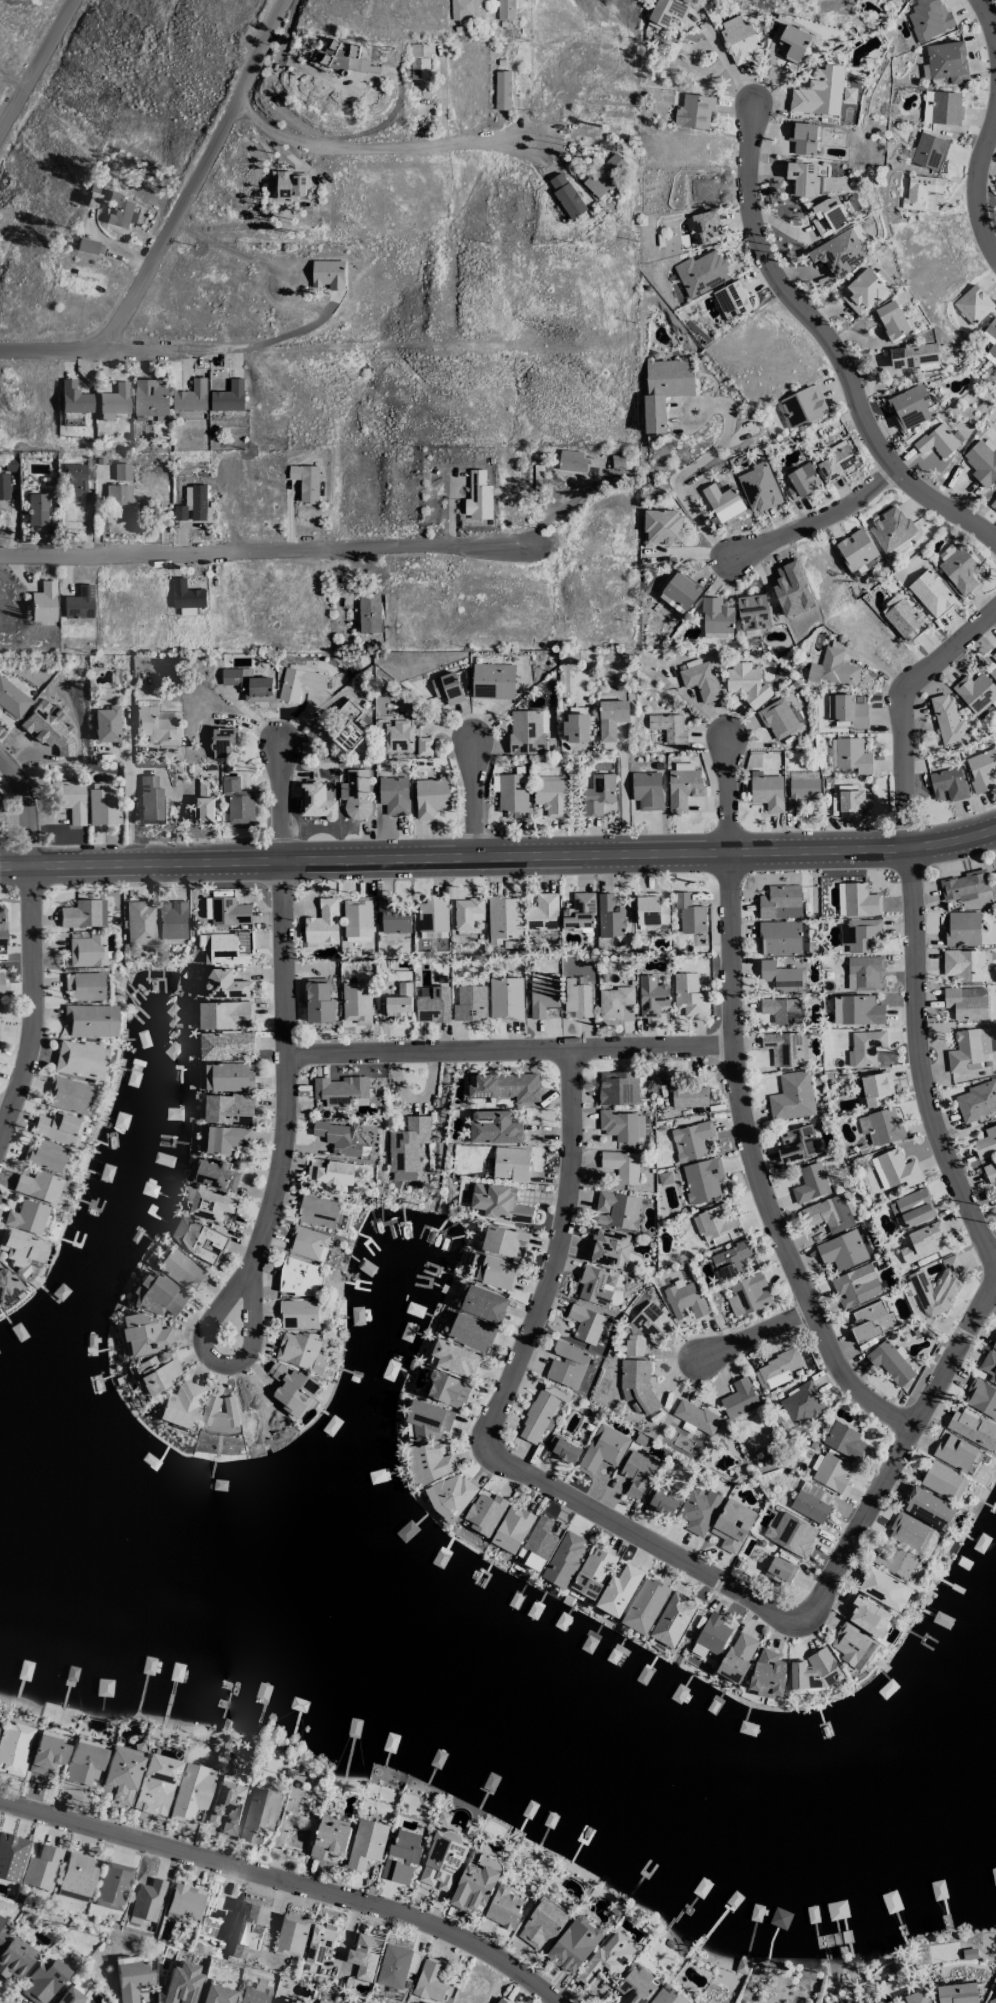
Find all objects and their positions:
building: (506, 8)
building: (463, 9)
building: (667, 11)
road: (987, 17)
building: (927, 18)
building: (739, 39)
building: (793, 41)
road: (724, 60)
building: (947, 61)
road: (38, 66)
building: (419, 68)
road: (12, 83)
building: (502, 90)
building: (819, 92)
road: (409, 107)
building: (941, 107)
building: (694, 111)
building: (802, 137)
road: (374, 142)
building: (929, 151)
road: (198, 170)
building: (606, 174)
building: (801, 178)
road: (977, 183)
building: (291, 185)
building: (920, 190)
building: (566, 195)
building: (828, 215)
building: (705, 226)
building: (839, 252)
building: (701, 273)
building: (862, 292)
building: (732, 299)
building: (891, 319)
building: (991, 337)
road: (270, 340)
road: (833, 344)
building: (913, 356)
building: (664, 389)
building: (191, 396)
building: (150, 397)
building: (228, 397)
building: (73, 398)
building: (114, 402)
building: (804, 404)
building: (909, 406)
building: (188, 414)
building: (936, 441)
building: (571, 460)
building: (837, 461)
building: (982, 461)
road: (683, 471)
building: (121, 472)
building: (73, 479)
building: (305, 481)
building: (802, 481)
building: (4, 486)
building: (758, 487)
building: (118, 495)
building: (478, 496)
building: (723, 501)
building: (198, 502)
building: (993, 503)
building: (36, 509)
building: (179, 512)
road: (814, 519)
building: (662, 526)
building: (890, 528)
building: (855, 549)
road: (259, 550)
building: (958, 568)
building: (791, 589)
building: (679, 592)
building: (930, 592)
building: (186, 594)
building: (42, 603)
building: (78, 603)
building: (753, 612)
building: (368, 613)
building: (902, 618)
building: (716, 619)
building: (993, 656)
building: (833, 669)
building: (993, 673)
building: (700, 679)
building: (247, 681)
building: (492, 681)
building: (299, 683)
building: (746, 683)
building: (447, 687)
building: (12, 699)
building: (848, 712)
building: (611, 717)
building: (777, 719)
building: (948, 721)
building: (106, 724)
building: (155, 726)
building: (576, 727)
building: (668, 727)
building: (525, 731)
building: (348, 736)
building: (399, 736)
building: (222, 742)
building: (423, 746)
building: (851, 755)
building: (981, 769)
road: (128, 782)
building: (947, 784)
road: (10, 788)
building: (682, 788)
building: (801, 788)
building: (647, 790)
building: (766, 791)
building: (355, 793)
building: (597, 793)
building: (393, 794)
building: (512, 795)
building: (431, 796)
building: (551, 796)
road: (474, 797)
building: (70, 800)
building: (205, 800)
road: (622, 801)
building: (315, 802)
building: (853, 802)
building: (101, 805)
road: (177, 812)
road: (498, 856)
building: (962, 886)
building: (857, 900)
building: (780, 902)
building: (650, 910)
building: (233, 911)
building: (466, 912)
building: (542, 912)
building: (579, 912)
building: (432, 913)
building: (689, 913)
building: (83, 914)
building: (357, 916)
building: (609, 916)
road: (913, 916)
building: (392, 917)
building: (504, 918)
building: (171, 919)
building: (322, 923)
building: (139, 924)
building: (962, 928)
building: (2, 929)
building: (858, 934)
building: (803, 937)
building: (779, 938)
road: (35, 945)
building: (228, 946)
building: (86, 951)
building: (963, 965)
building: (863, 972)
building: (780, 976)
building: (227, 984)
building: (0, 985)
building: (83, 986)
building: (688, 994)
building: (651, 995)
building: (543, 997)
building: (505, 998)
building: (577, 998)
building: (318, 1000)
building: (614, 1000)
building: (399, 1001)
building: (356, 1002)
building: (966, 1002)
building: (0, 1003)
building: (470, 1003)
building: (432, 1004)
building: (782, 1010)
building: (857, 1010)
building: (226, 1015)
building: (88, 1020)
building: (247, 1043)
building: (864, 1047)
building: (783, 1048)
road: (511, 1049)
building: (969, 1050)
building: (78, 1059)
building: (232, 1076)
building: (506, 1086)
building: (618, 1088)
building: (875, 1088)
building: (340, 1089)
building: (68, 1096)
building: (687, 1096)
building: (792, 1096)
road: (749, 1100)
building: (976, 1100)
building: (228, 1109)
road: (4, 1113)
road: (284, 1119)
building: (622, 1125)
building: (880, 1126)
building: (494, 1127)
building: (56, 1128)
building: (338, 1136)
building: (226, 1138)
building: (690, 1140)
building: (407, 1143)
building: (985, 1143)
building: (795, 1144)
building: (43, 1155)
building: (510, 1163)
building: (621, 1165)
building: (894, 1169)
building: (330, 1172)
building: (990, 1172)
building: (215, 1175)
building: (702, 1179)
building: (810, 1183)
building: (36, 1187)
building: (498, 1202)
building: (211, 1205)
building: (911, 1208)
building: (616, 1210)
building: (318, 1211)
building: (828, 1214)
building: (25, 1217)
building: (503, 1240)
building: (201, 1241)
building: (921, 1241)
building: (308, 1243)
building: (608, 1247)
building: (20, 1250)
building: (842, 1250)
building: (730, 1260)
building: (179, 1269)
building: (497, 1272)
building: (300, 1277)
building: (6, 1285)
building: (595, 1285)
building: (855, 1285)
building: (937, 1286)
building: (748, 1294)
building: (156, 1296)
building: (684, 1300)
building: (482, 1303)
building: (299, 1314)
building: (871, 1321)
building: (585, 1323)
building: (652, 1323)
building: (471, 1332)
building: (143, 1335)
road: (757, 1335)
building: (634, 1345)
building: (994, 1345)
building: (300, 1351)
building: (455, 1358)
building: (889, 1362)
building: (567, 1364)
building: (989, 1366)
building: (776, 1369)
building: (154, 1374)
building: (636, 1383)
building: (291, 1387)
building: (446, 1388)
building: (981, 1397)
building: (738, 1398)
building: (801, 1403)
building: (182, 1405)
building: (219, 1412)
building: (537, 1416)
building: (695, 1417)
building: (429, 1419)
road: (493, 1420)
building: (972, 1428)
building: (844, 1440)
road: (901, 1448)
building: (563, 1449)
building: (602, 1449)
building: (954, 1452)
building: (428, 1462)
building: (830, 1471)
building: (636, 1473)
building: (943, 1481)
building: (451, 1494)
building: (660, 1501)
building: (811, 1501)
building: (740, 1508)
building: (929, 1508)
building: (698, 1509)
building: (485, 1513)
building: (512, 1528)
building: (730, 1529)
building: (912, 1532)
building: (791, 1534)
building: (537, 1543)
building: (564, 1559)
building: (894, 1560)
building: (779, 1570)
building: (591, 1574)
building: (883, 1588)
building: (619, 1591)
building: (645, 1605)
building: (868, 1617)
building: (672, 1619)
building: (712, 1633)
building: (850, 1643)
building: (737, 1656)
building: (814, 1671)
building: (768, 1673)
building: (14, 1746)
building: (47, 1753)
building: (83, 1764)
building: (119, 1775)
building: (154, 1784)
building: (190, 1793)
building: (226, 1805)
building: (259, 1814)
building: (443, 1817)
building: (329, 1841)
building: (366, 1843)
building: (11, 1856)
building: (401, 1856)
building: (442, 1860)
building: (40, 1868)
building: (76, 1874)
road: (287, 1883)
building: (475, 1883)
building: (112, 1886)
building: (71, 1895)
building: (184, 1901)
building: (504, 1907)
building: (542, 1924)
building: (290, 1938)
building: (320, 1942)
building: (575, 1944)
building: (365, 1954)
building: (14, 1958)
building: (607, 1959)
building: (393, 1966)
building: (741, 1966)
building: (131, 1980)
building: (43, 1981)
building: (429, 1981)
building: (636, 1986)
building: (995, 1990)
building: (957, 1993)
building: (254, 1994)
building: (215, 1995)
building: (70, 1996)
building: (666, 1996)
building: (168, 1997)
building: (917, 1997)
building: (992, 2000)
building: (287, 2001)
building: (323, 2001)

